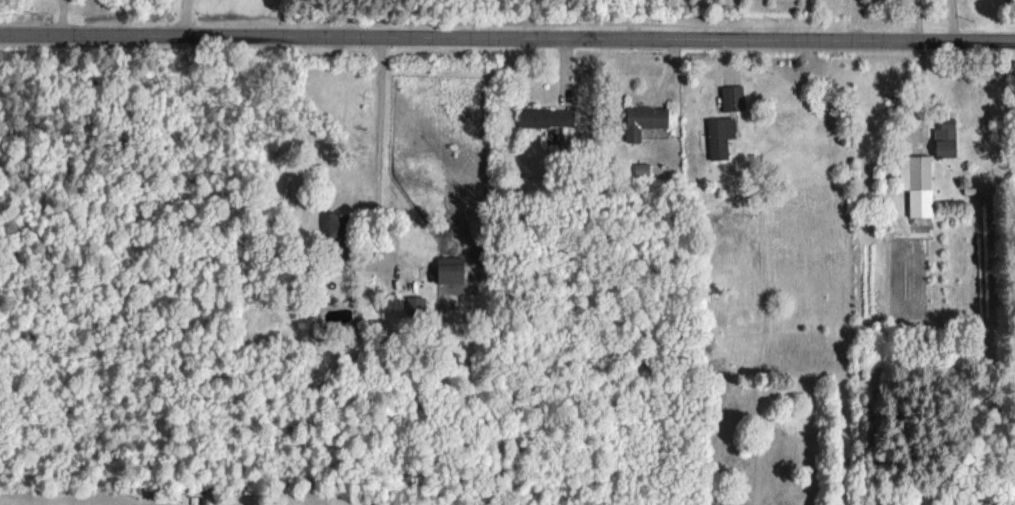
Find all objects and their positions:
road: (181, 17)
road: (910, 19)
road: (946, 19)
road: (507, 36)
building: (732, 98)
building: (546, 117)
building: (643, 120)
building: (719, 136)
building: (944, 137)
road: (380, 148)
building: (641, 169)
building: (916, 183)
building: (334, 224)
building: (449, 270)
building: (415, 303)

